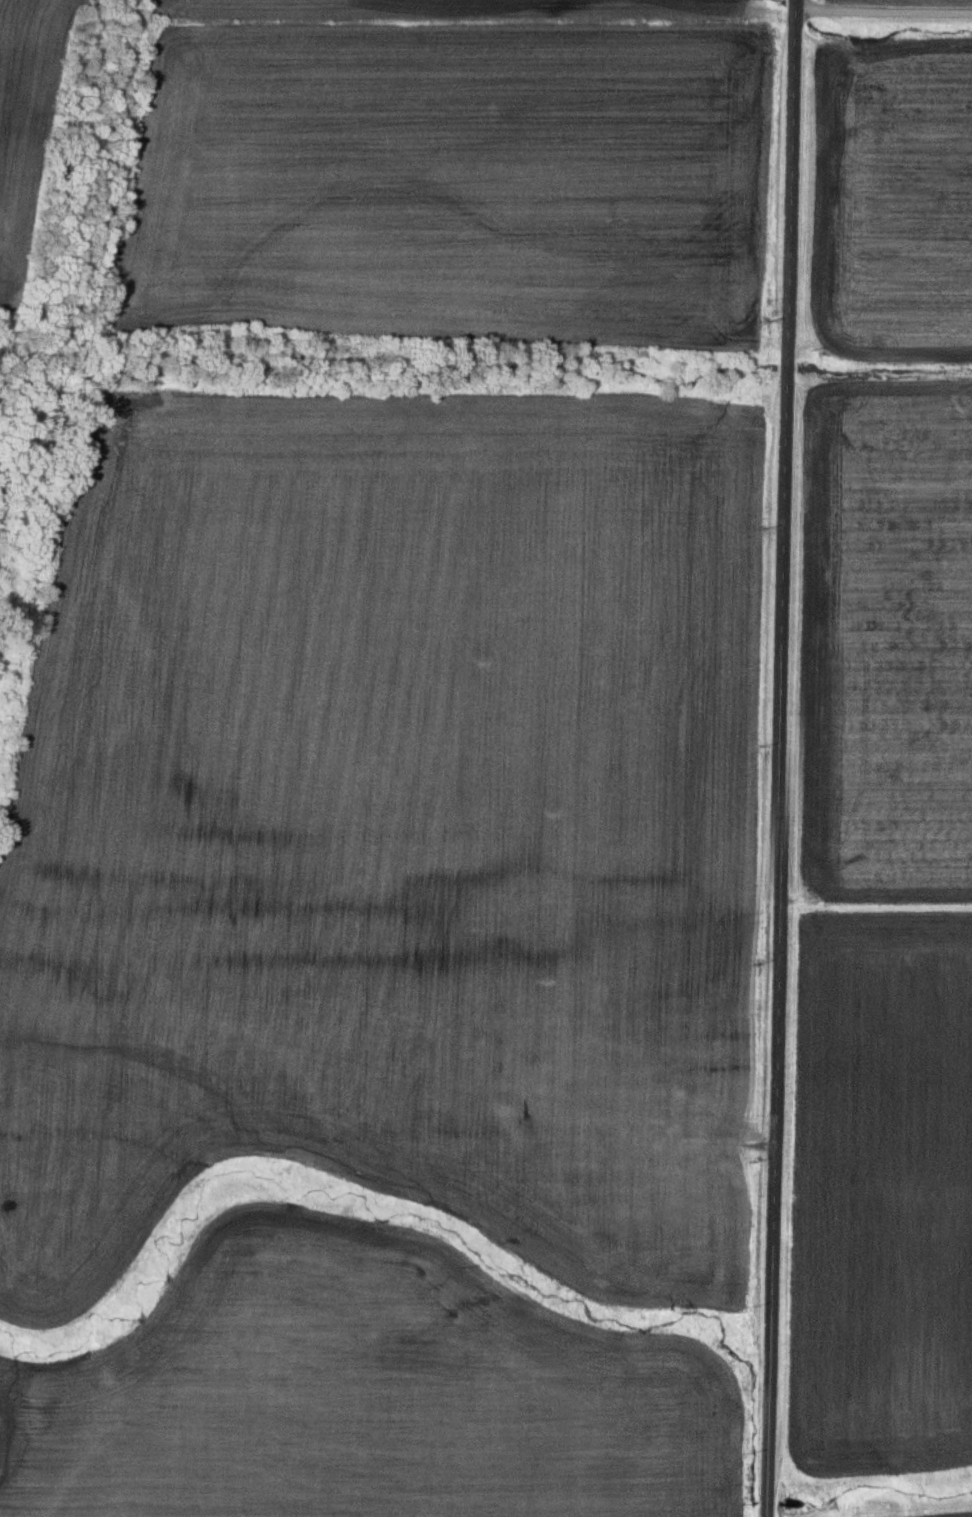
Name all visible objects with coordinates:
road: (884, 10)
road: (780, 758)

